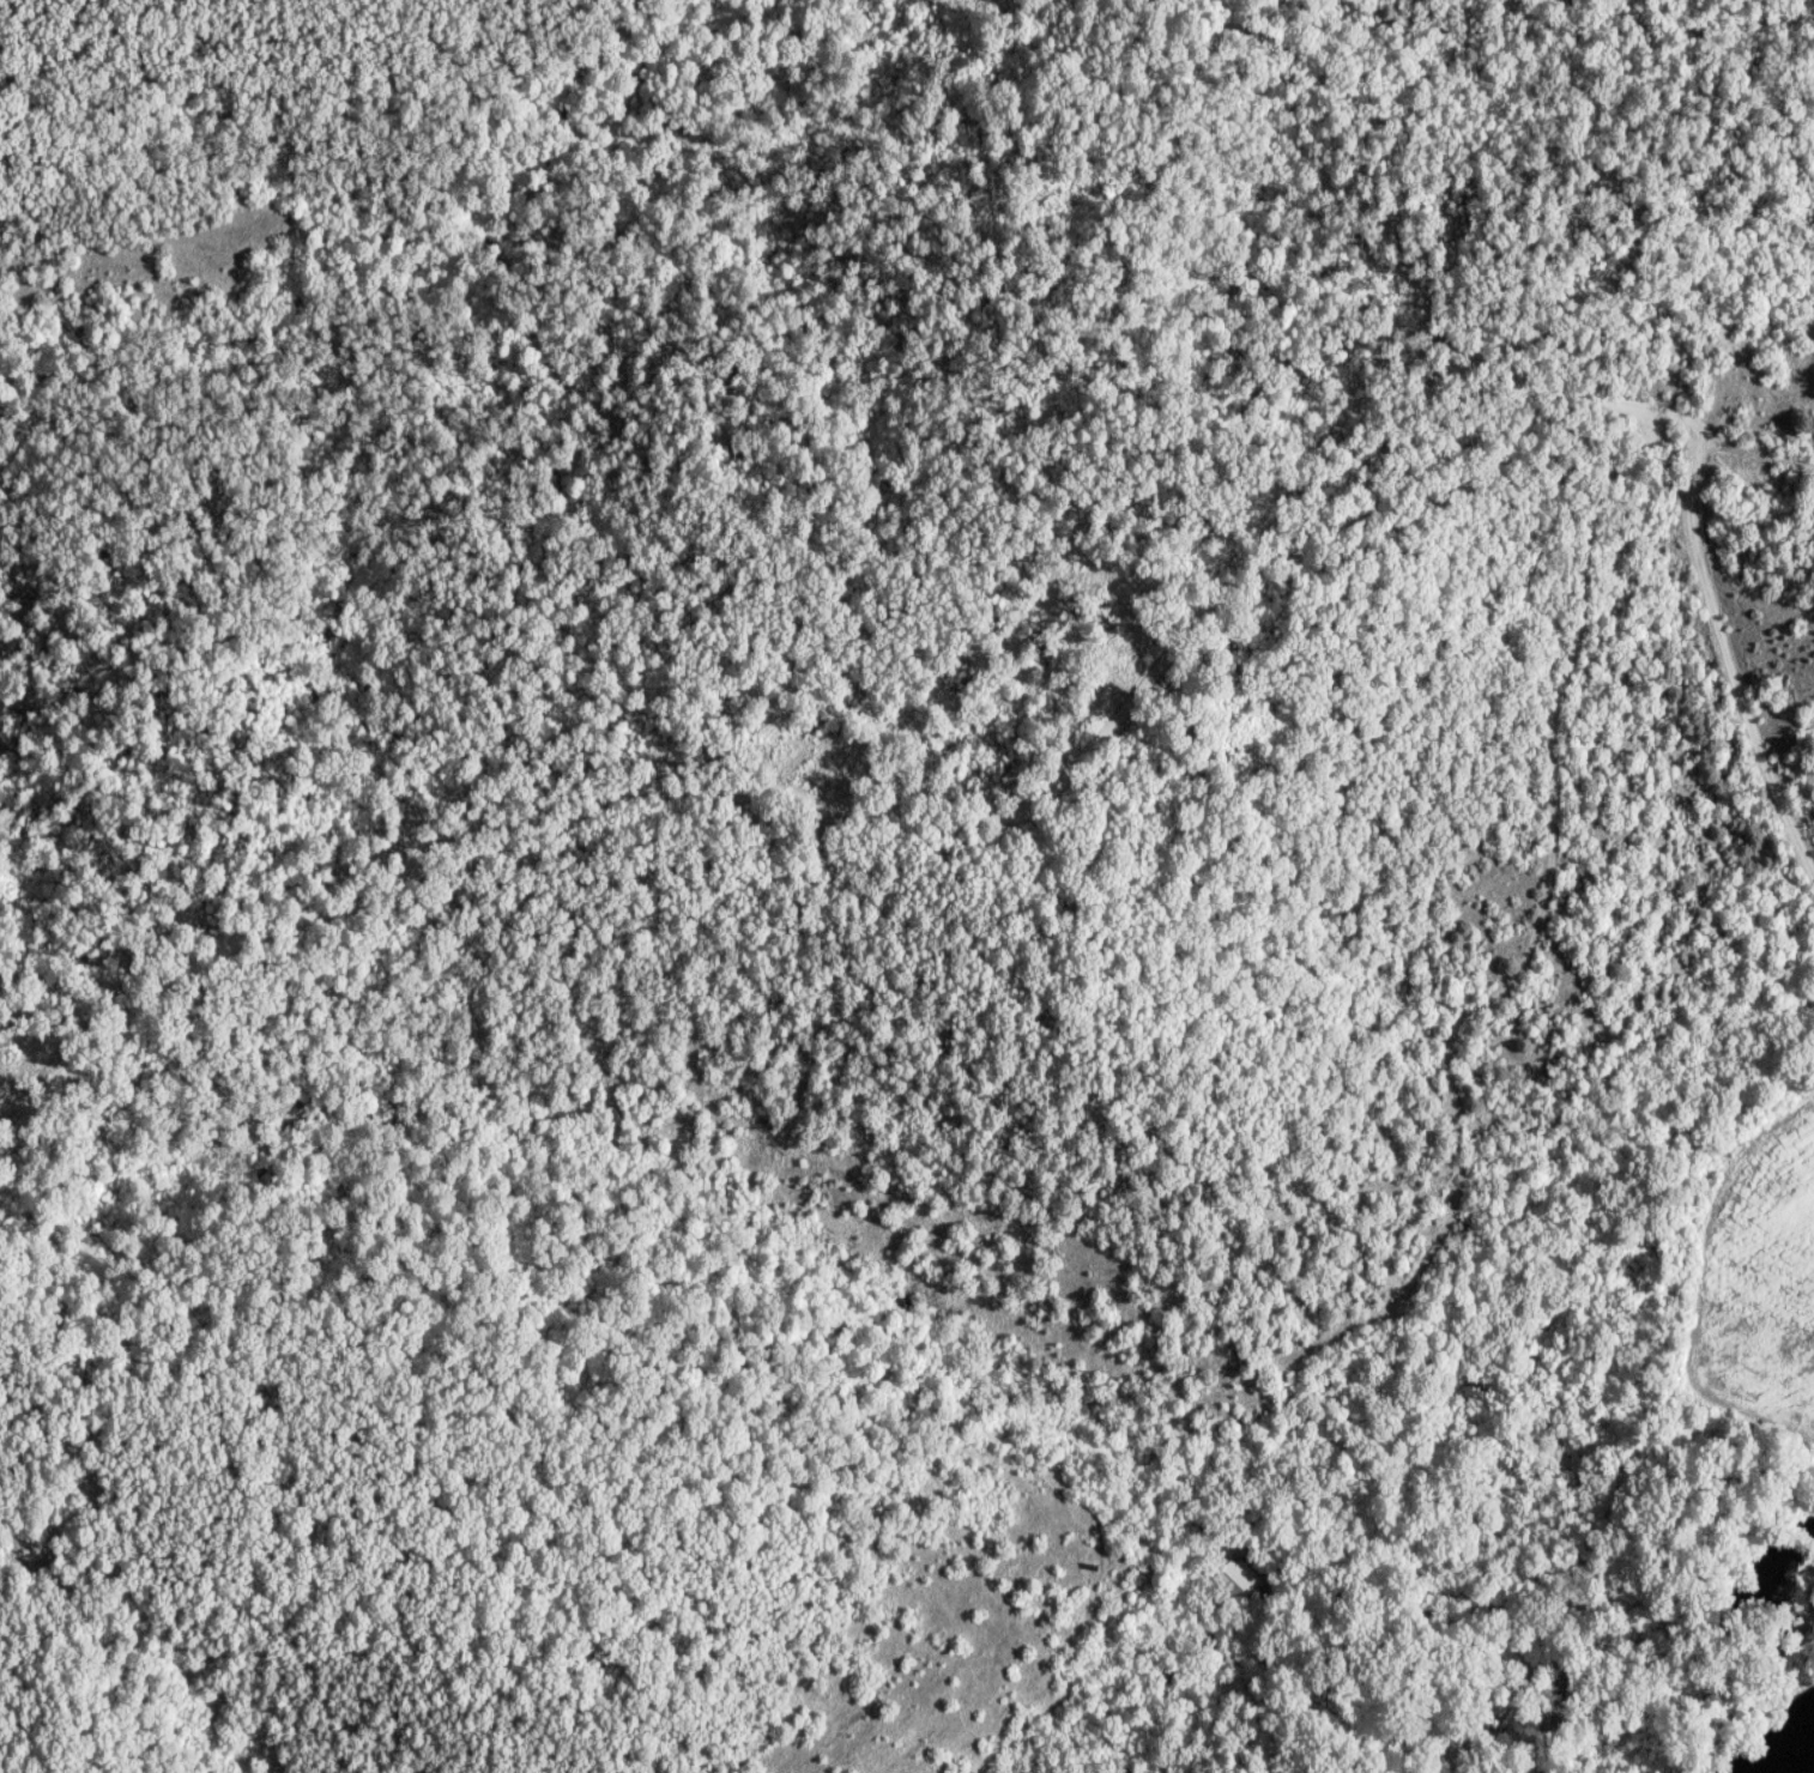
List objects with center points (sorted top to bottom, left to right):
road: (932, 815)
building: (1240, 1577)
river: (1780, 1755)

